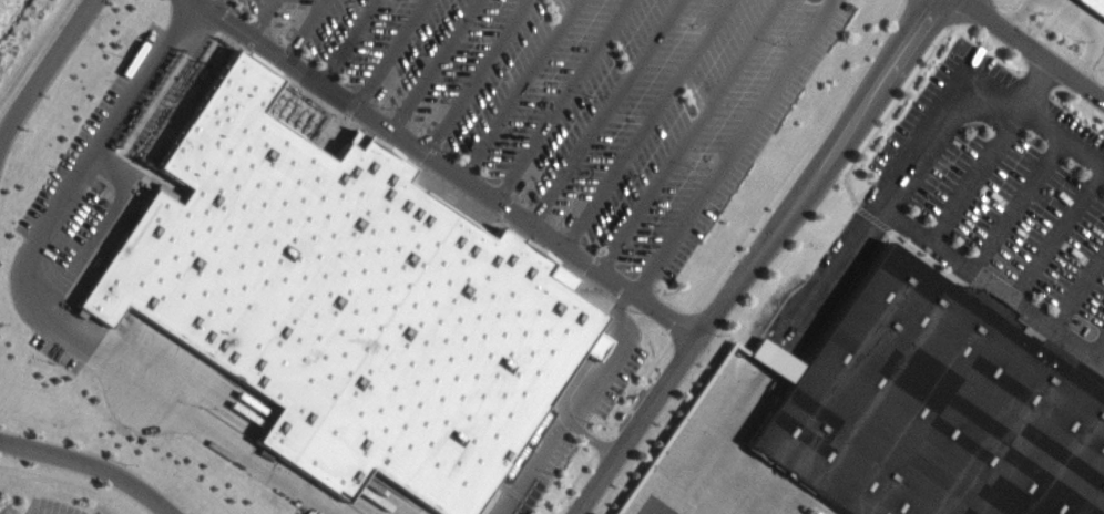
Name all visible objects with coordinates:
road: (200, 0)
building: (1095, 4)
road: (224, 7)
road: (267, 19)
road: (310, 30)
road: (1053, 38)
road: (352, 42)
road: (1034, 49)
road: (34, 50)
road: (396, 53)
road: (437, 65)
road: (48, 73)
road: (480, 76)
road: (522, 89)
parking lot: (115, 96)
parking lot: (583, 100)
road: (565, 101)
road: (609, 112)
road: (651, 124)
road: (1065, 135)
road: (694, 136)
road: (738, 148)
road: (451, 169)
road: (821, 169)
road: (983, 175)
road: (82, 177)
parking lot: (1005, 195)
road: (1024, 205)
road: (893, 209)
road: (109, 219)
road: (1061, 237)
road: (732, 260)
road: (1082, 295)
building: (347, 302)
road: (615, 358)
road: (585, 361)
building: (784, 366)
parking lot: (623, 382)
building: (937, 409)
road: (640, 425)
road: (208, 433)
road: (592, 438)
road: (534, 464)
road: (88, 466)
parking lot: (546, 476)
road: (71, 481)
parking lot: (42, 506)

